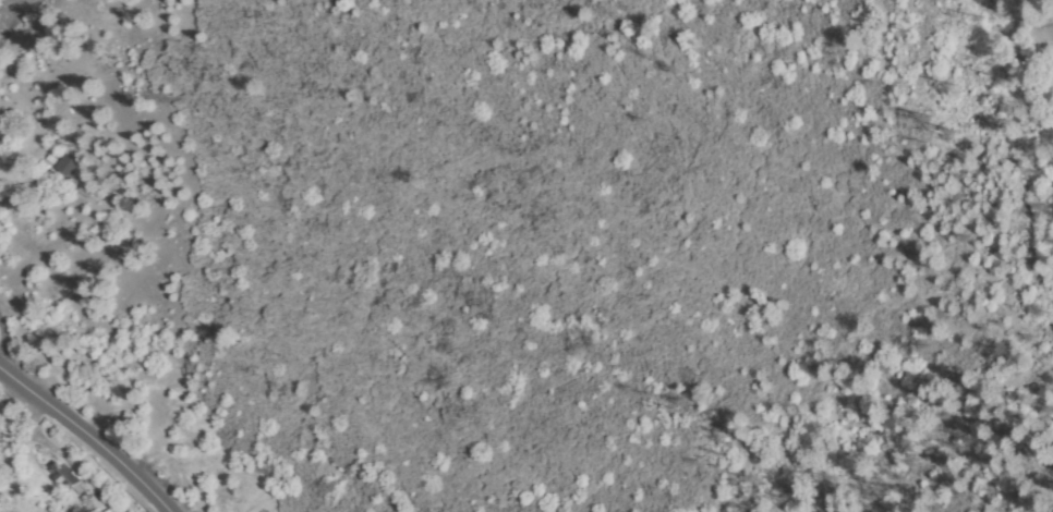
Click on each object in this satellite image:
building: (69, 167)
building: (88, 188)
road: (82, 441)
building: (70, 470)
building: (64, 478)
building: (87, 484)
building: (96, 493)

